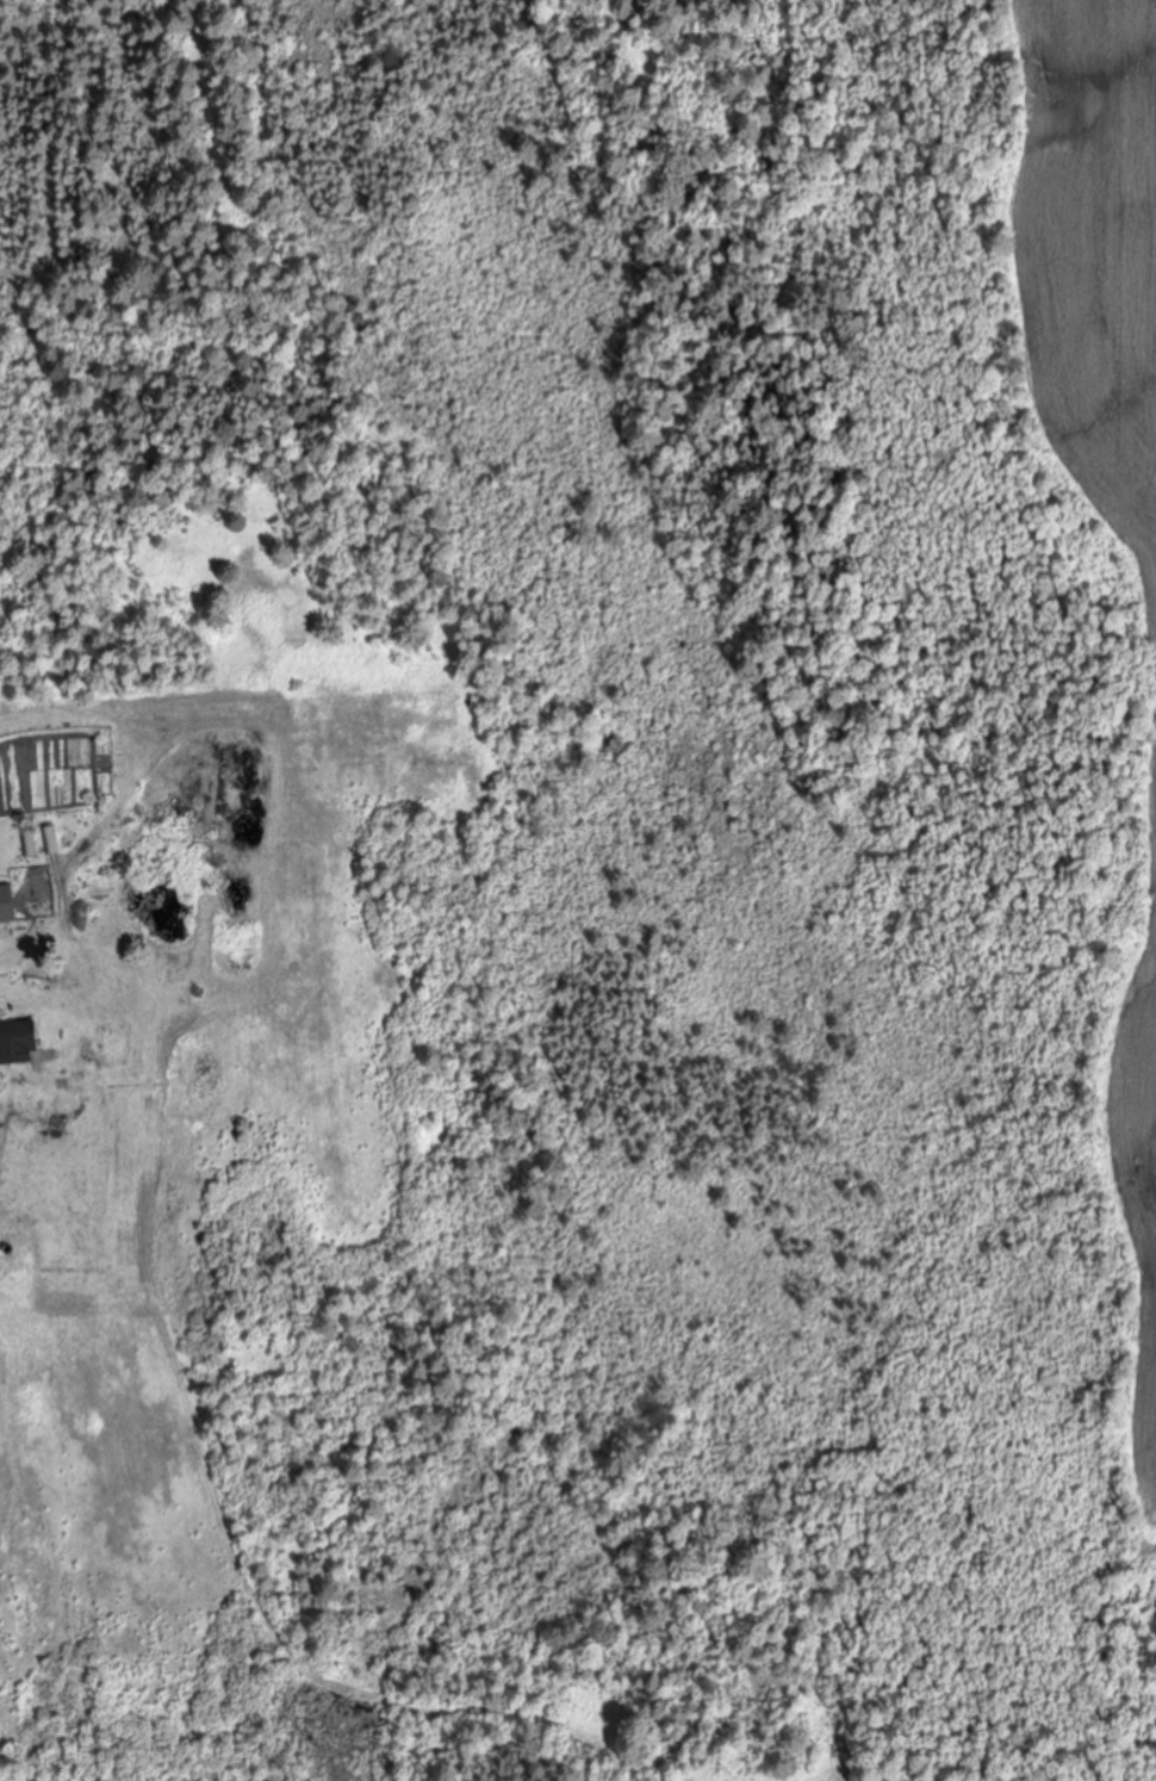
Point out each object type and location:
building: (10, 902)
building: (20, 1038)

